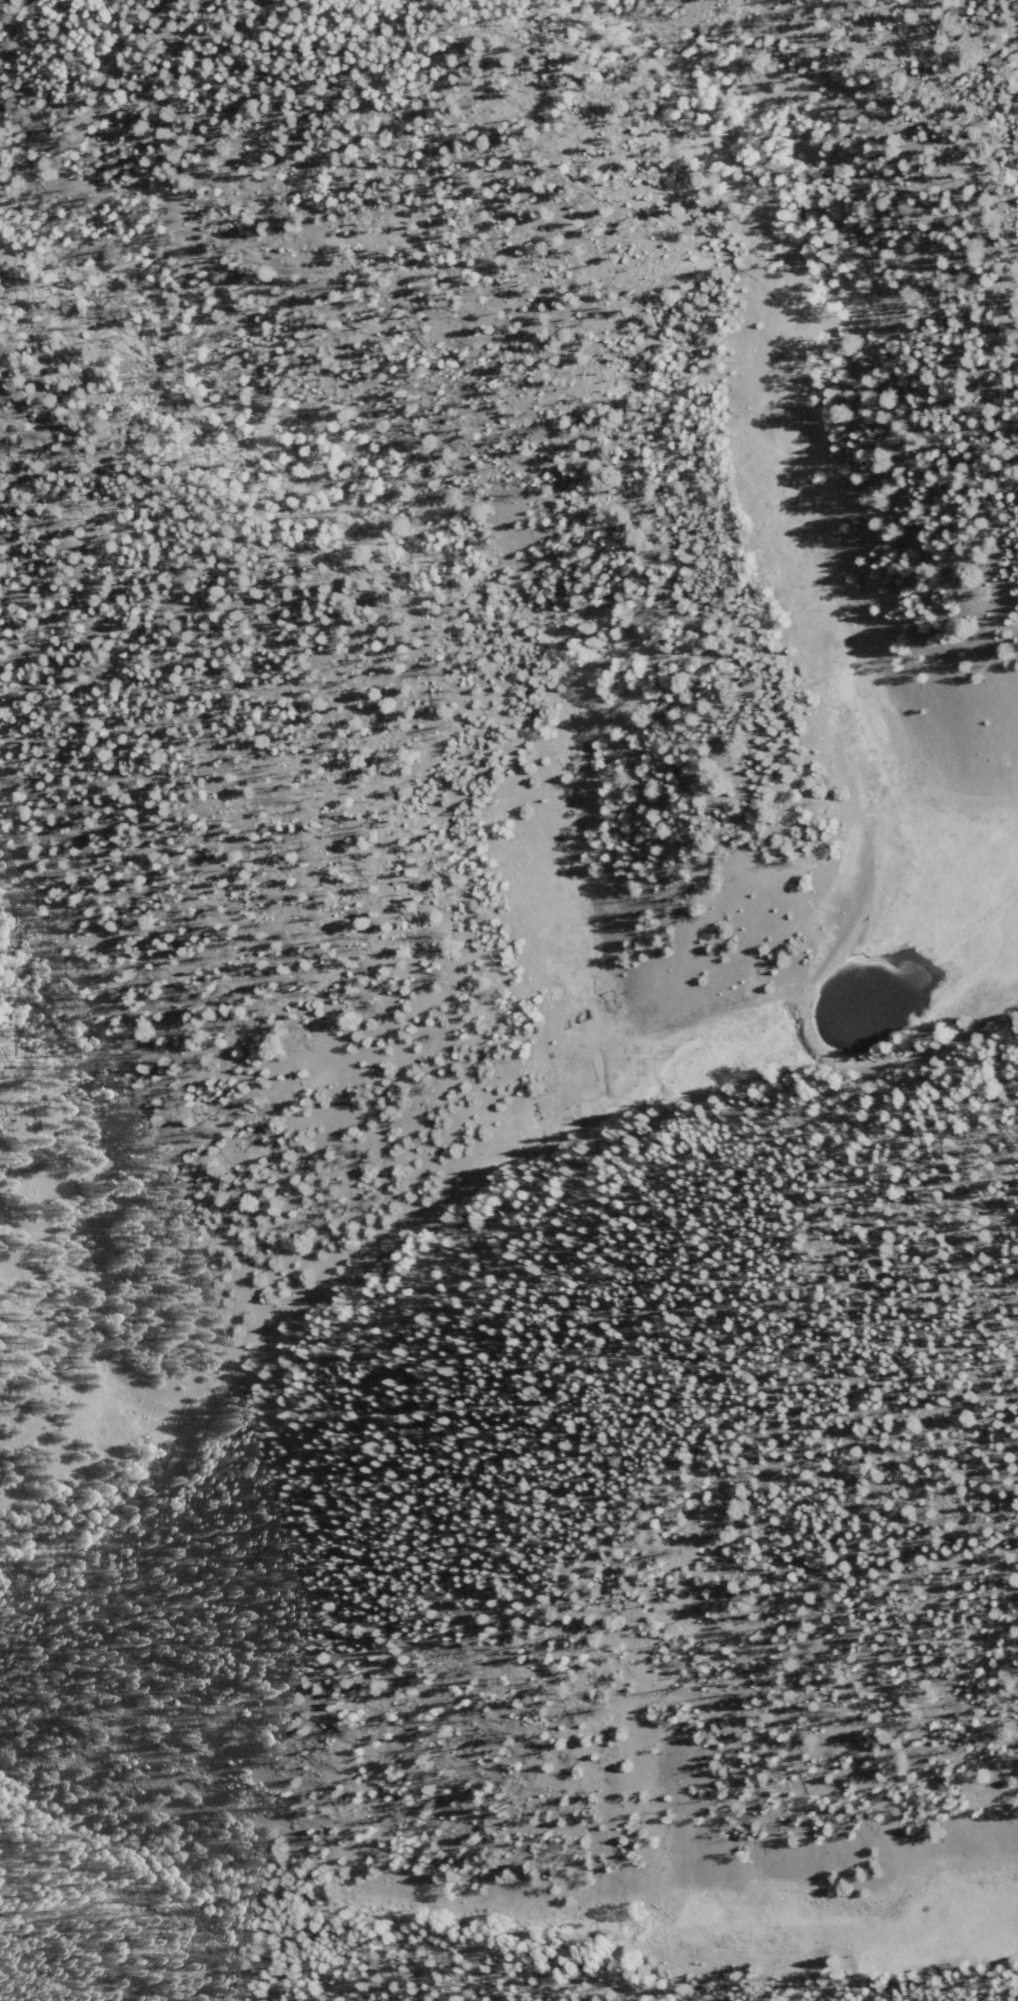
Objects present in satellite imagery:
road: (16, 275)

